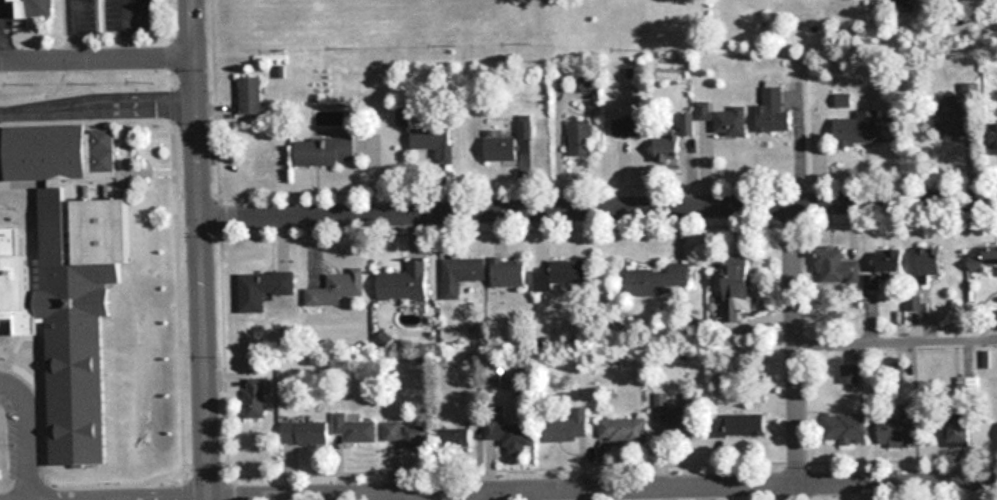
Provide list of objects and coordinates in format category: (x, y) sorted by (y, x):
building: (36, 8)
road: (74, 30)
road: (126, 30)
road: (97, 60)
building: (584, 81)
building: (251, 95)
building: (843, 101)
road: (98, 106)
building: (955, 110)
building: (773, 112)
building: (723, 118)
building: (686, 123)
building: (627, 126)
building: (863, 128)
building: (579, 137)
building: (994, 140)
building: (433, 141)
building: (667, 147)
building: (501, 148)
building: (324, 151)
building: (262, 168)
road: (599, 210)
road: (202, 250)
building: (889, 261)
building: (984, 261)
building: (930, 262)
building: (836, 267)
building: (74, 270)
building: (508, 271)
building: (461, 274)
building: (560, 274)
building: (660, 280)
building: (404, 281)
building: (337, 288)
building: (736, 288)
building: (262, 289)
road: (896, 330)
road: (796, 353)
building: (254, 399)
building: (678, 419)
building: (742, 426)
building: (567, 427)
building: (353, 428)
building: (843, 428)
building: (898, 428)
building: (623, 430)
building: (304, 433)
road: (25, 434)
building: (409, 434)
building: (959, 434)
building: (511, 435)
building: (457, 437)
road: (605, 488)
road: (173, 498)

